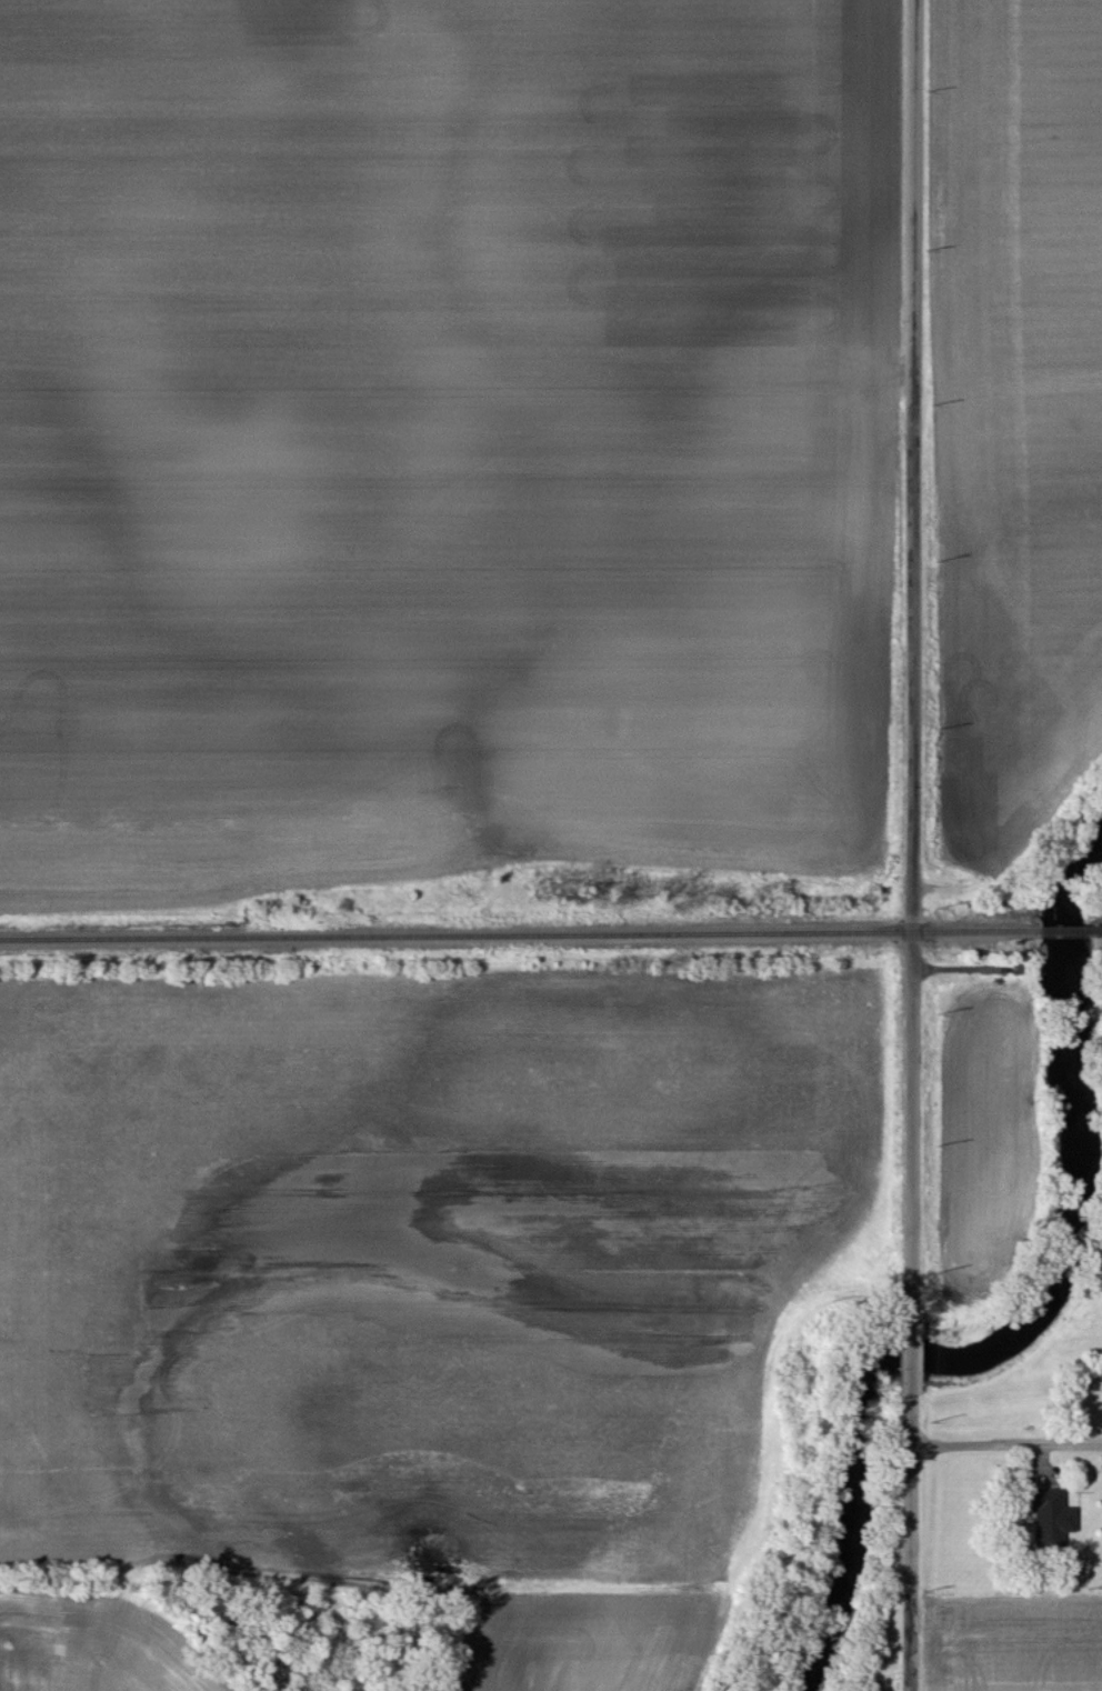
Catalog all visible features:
road: (914, 464)
railway: (1071, 930)
railway: (520, 934)
road: (913, 1117)
road: (912, 1349)
road: (912, 1421)
road: (1006, 1445)
building: (1050, 1519)
road: (912, 1569)

